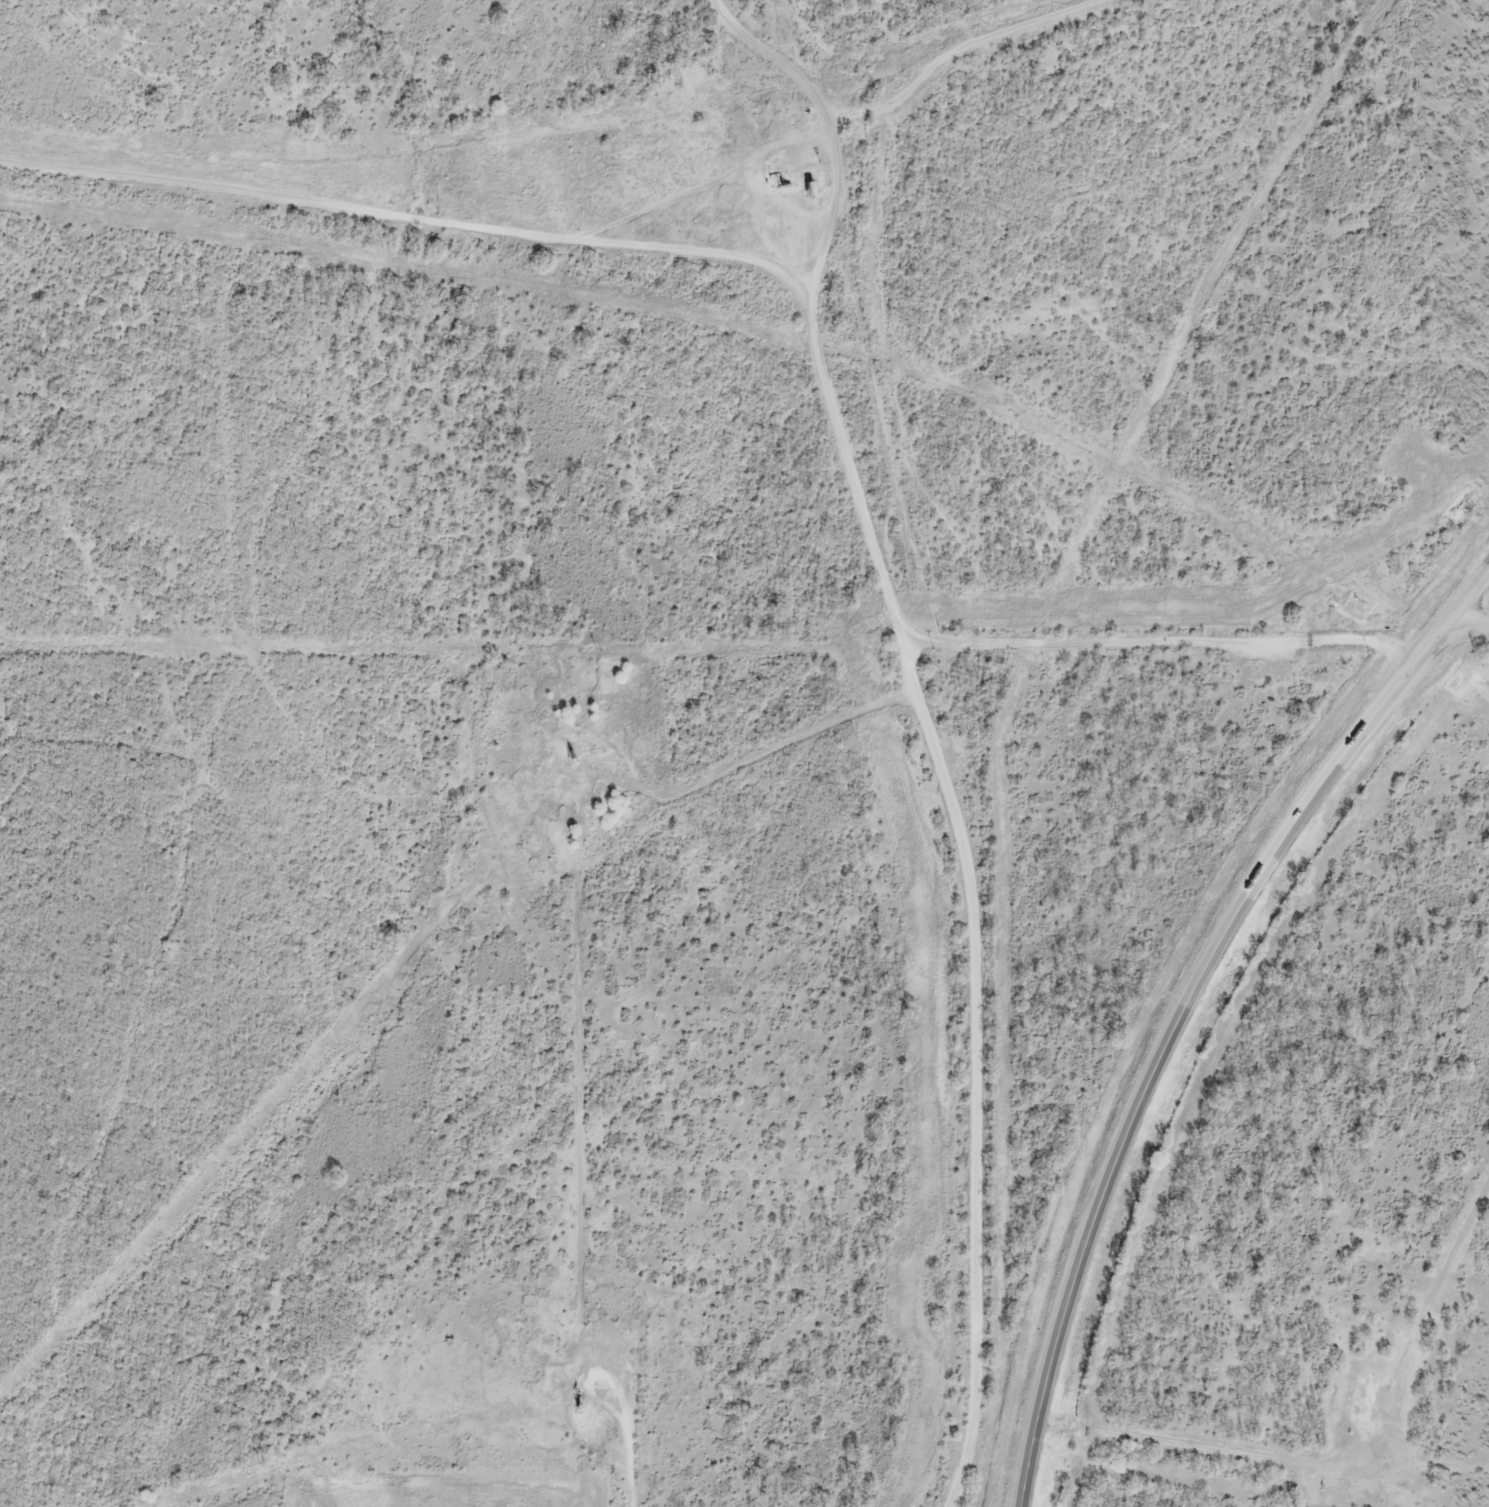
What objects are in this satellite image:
road: (857, 495)
road: (1465, 625)
road: (1159, 639)
road: (1181, 1000)

